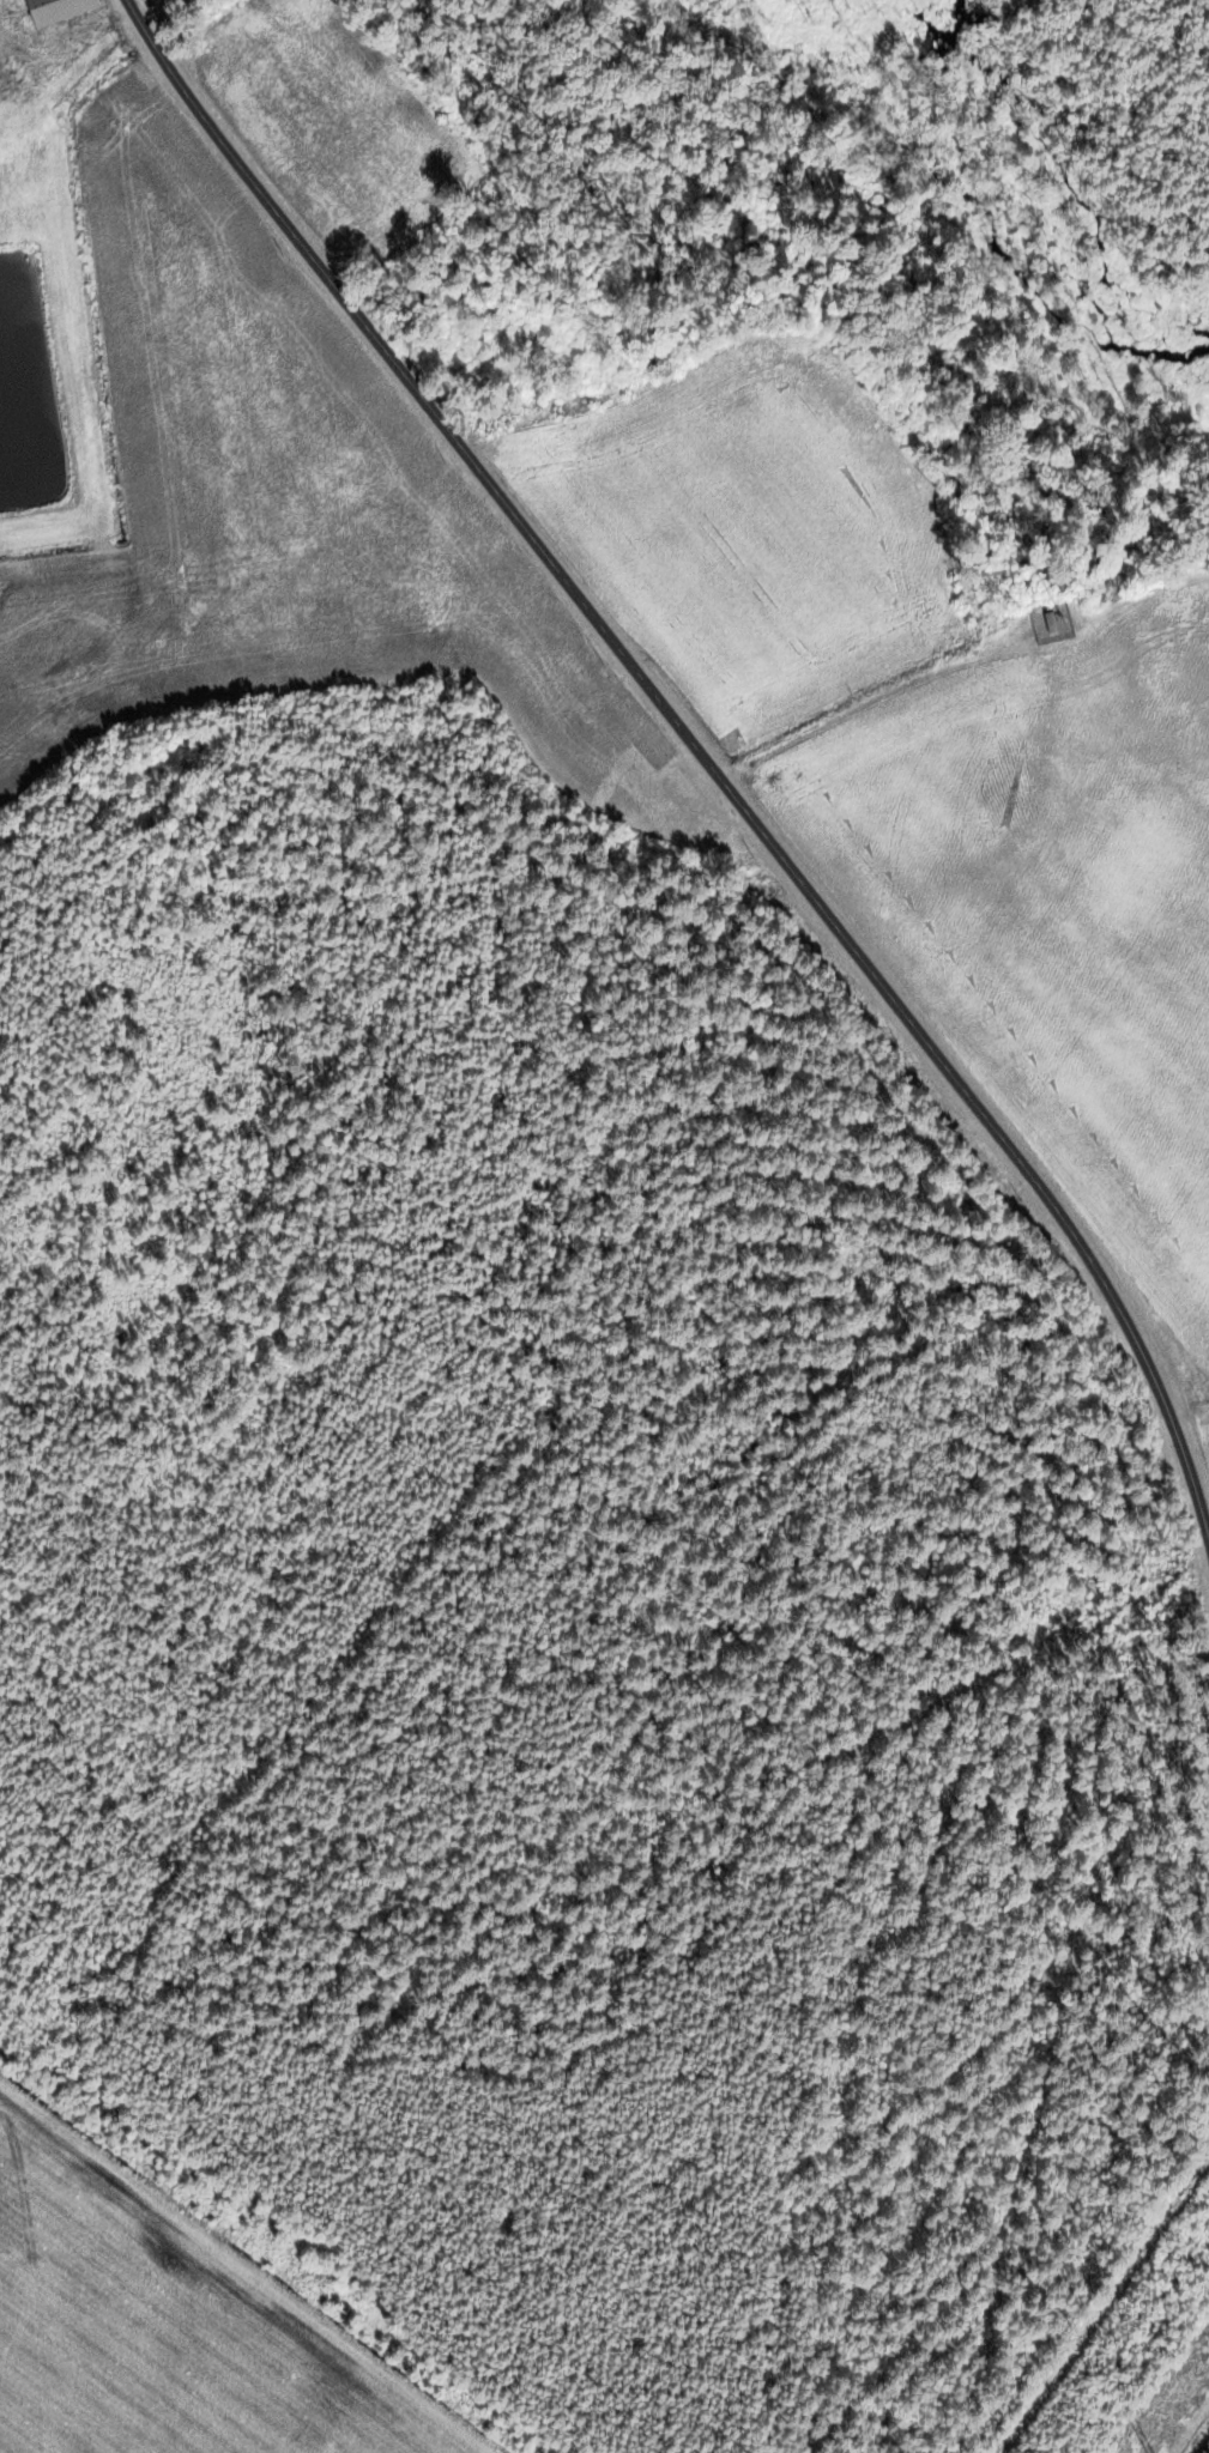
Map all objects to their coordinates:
building: (60, 10)
road: (701, 757)
railway: (1112, 2308)

